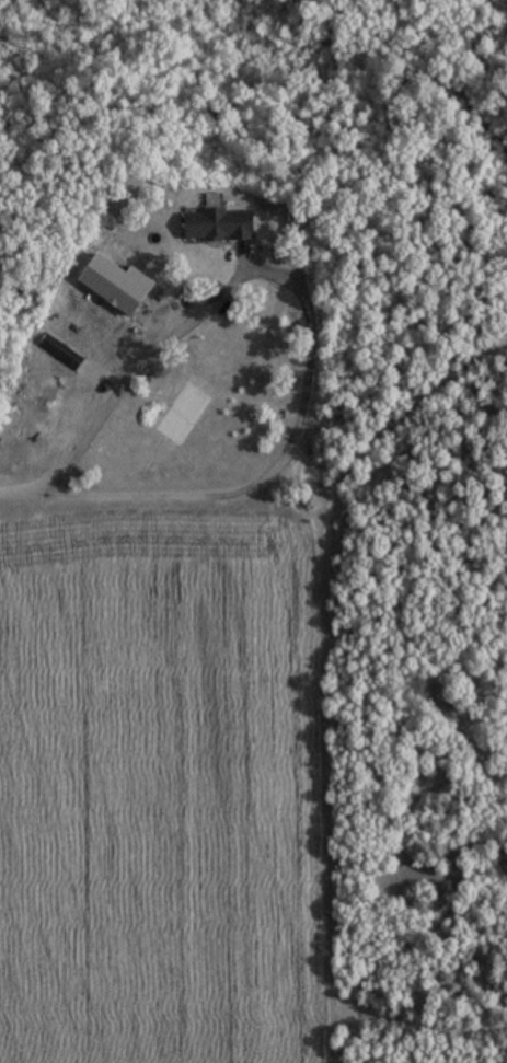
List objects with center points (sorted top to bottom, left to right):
building: (221, 226)
road: (310, 324)
road: (12, 492)

